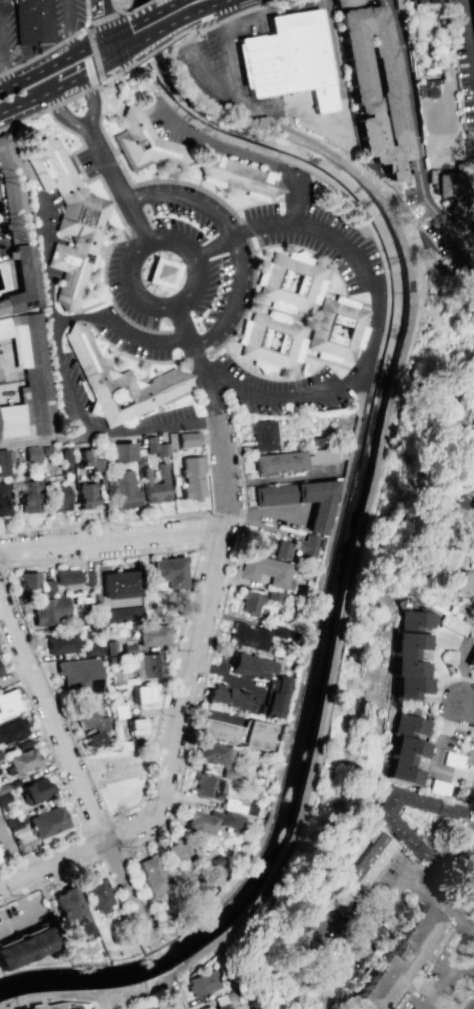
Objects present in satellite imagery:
building: (4, 0)
road: (100, 0)
road: (102, 0)
road: (271, 2)
building: (341, 2)
road: (114, 5)
road: (193, 5)
building: (423, 6)
road: (133, 8)
road: (216, 10)
building: (472, 10)
road: (241, 13)
parking lot: (67, 17)
building: (33, 22)
road: (104, 23)
road: (70, 25)
road: (150, 26)
road: (203, 29)
road: (469, 33)
parking lot: (7, 37)
road: (88, 37)
road: (116, 43)
road: (54, 44)
traffic signals: (113, 45)
road: (154, 49)
parking lot: (463, 55)
building: (301, 58)
road: (2, 59)
road: (54, 59)
road: (330, 63)
building: (256, 66)
building: (354, 68)
road: (206, 70)
road: (113, 75)
road: (224, 78)
road: (448, 82)
parking lot: (213, 84)
road: (61, 85)
building: (426, 88)
road: (90, 102)
road: (52, 107)
road: (304, 116)
road: (64, 117)
parking lot: (171, 125)
road: (412, 127)
parking lot: (442, 132)
building: (143, 142)
road: (372, 150)
road: (243, 154)
building: (54, 168)
building: (237, 176)
road: (117, 185)
building: (448, 189)
building: (82, 220)
parking lot: (44, 224)
building: (15, 230)
road: (235, 236)
parking lot: (2, 246)
road: (42, 260)
building: (160, 272)
building: (68, 273)
building: (311, 282)
parking lot: (210, 285)
road: (153, 305)
road: (376, 308)
building: (356, 329)
road: (143, 340)
building: (292, 343)
building: (85, 353)
road: (60, 356)
road: (201, 364)
building: (35, 373)
building: (162, 388)
parking lot: (72, 396)
building: (100, 400)
building: (11, 421)
building: (473, 426)
road: (110, 434)
building: (262, 435)
building: (187, 438)
building: (316, 441)
building: (150, 444)
building: (161, 449)
building: (120, 452)
building: (32, 453)
building: (324, 455)
building: (66, 461)
building: (91, 461)
building: (3, 462)
building: (277, 462)
building: (191, 477)
building: (154, 485)
building: (124, 489)
building: (27, 493)
building: (87, 495)
building: (56, 497)
building: (300, 499)
building: (3, 500)
building: (473, 506)
road: (208, 513)
road: (104, 520)
building: (473, 522)
building: (473, 532)
road: (112, 539)
building: (262, 543)
building: (308, 547)
road: (368, 548)
building: (283, 549)
building: (265, 569)
building: (168, 571)
building: (67, 577)
building: (87, 577)
road: (97, 579)
building: (28, 580)
building: (465, 586)
building: (122, 595)
building: (275, 596)
building: (251, 601)
building: (50, 610)
building: (413, 620)
building: (454, 625)
building: (281, 631)
building: (470, 633)
building: (152, 634)
building: (249, 636)
building: (60, 642)
road: (194, 646)
building: (111, 647)
building: (128, 647)
building: (92, 649)
building: (407, 654)
building: (449, 657)
building: (471, 660)
building: (150, 664)
building: (251, 665)
road: (206, 666)
building: (473, 671)
building: (0, 673)
building: (78, 675)
building: (117, 678)
road: (303, 685)
building: (408, 686)
building: (143, 693)
building: (228, 695)
building: (276, 696)
road: (432, 702)
building: (8, 703)
building: (119, 710)
road: (464, 710)
building: (136, 725)
road: (156, 726)
building: (101, 728)
building: (12, 730)
building: (240, 732)
building: (122, 745)
building: (403, 748)
building: (215, 752)
road: (437, 755)
building: (0, 757)
building: (24, 759)
building: (451, 759)
road: (75, 773)
road: (62, 774)
park: (117, 776)
building: (208, 786)
building: (36, 790)
building: (3, 798)
building: (229, 818)
building: (201, 821)
building: (47, 822)
building: (412, 843)
road: (11, 848)
parking lot: (2, 850)
building: (181, 854)
building: (468, 854)
road: (62, 855)
road: (99, 857)
road: (90, 861)
building: (368, 861)
building: (154, 873)
building: (473, 875)
road: (11, 878)
road: (139, 891)
building: (97, 894)
road: (18, 898)
road: (386, 907)
building: (71, 911)
parking lot: (22, 915)
road: (14, 923)
parking lot: (353, 929)
road: (165, 933)
building: (22, 948)
parking lot: (446, 949)
road: (318, 956)
building: (395, 964)
road: (471, 969)
building: (204, 982)
road: (450, 987)
road: (470, 988)
road: (181, 991)
road: (470, 994)
road: (174, 999)
road: (461, 1000)
building: (59, 1005)
building: (140, 1006)
building: (223, 1006)

